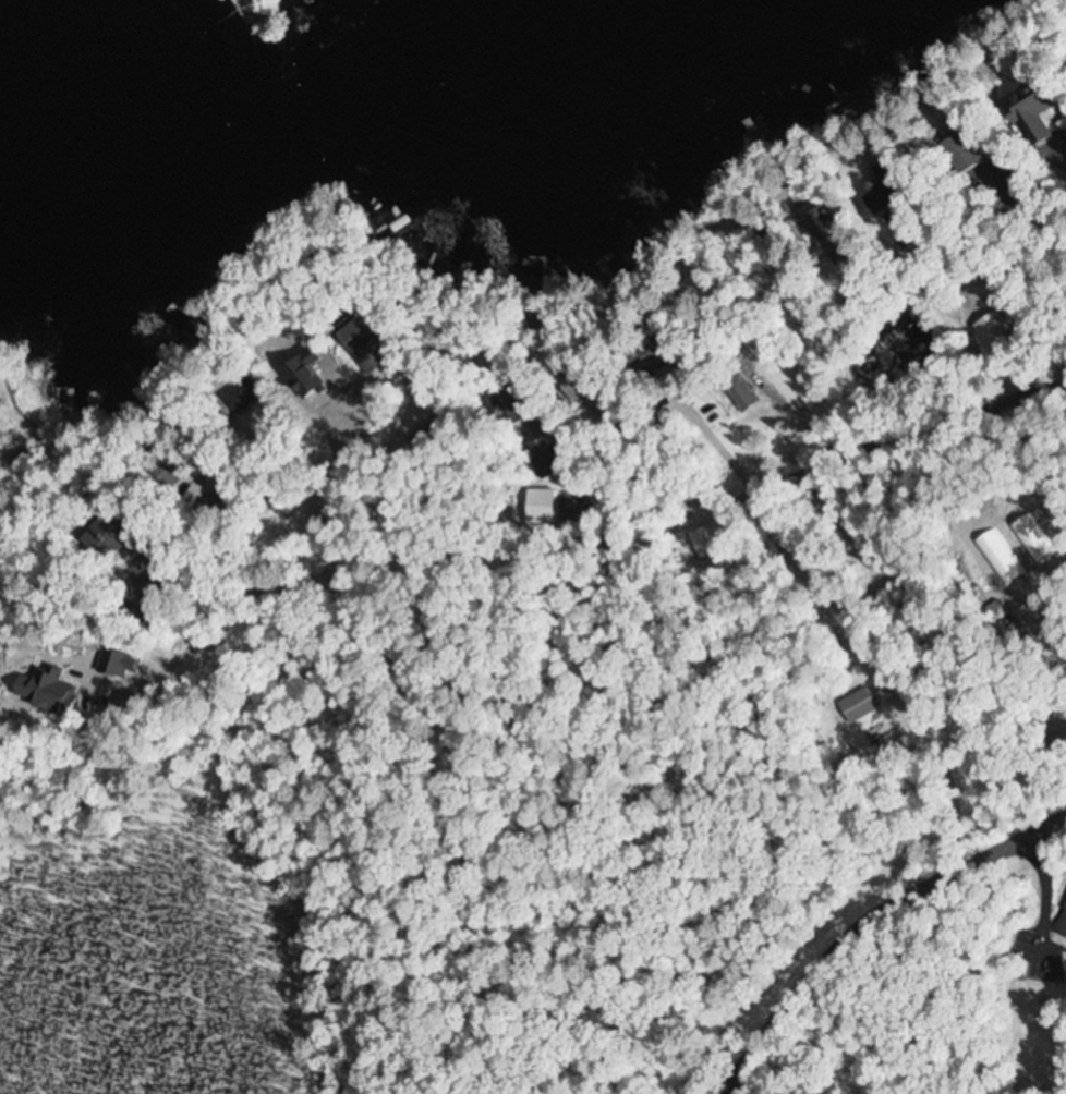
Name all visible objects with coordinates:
building: (1027, 110)
building: (956, 153)
building: (888, 184)
building: (832, 229)
road: (993, 268)
building: (986, 329)
building: (362, 336)
building: (576, 380)
building: (238, 393)
road: (756, 400)
building: (118, 532)
road: (628, 538)
building: (681, 542)
building: (122, 666)
building: (843, 698)
road: (863, 917)
building: (1065, 933)

